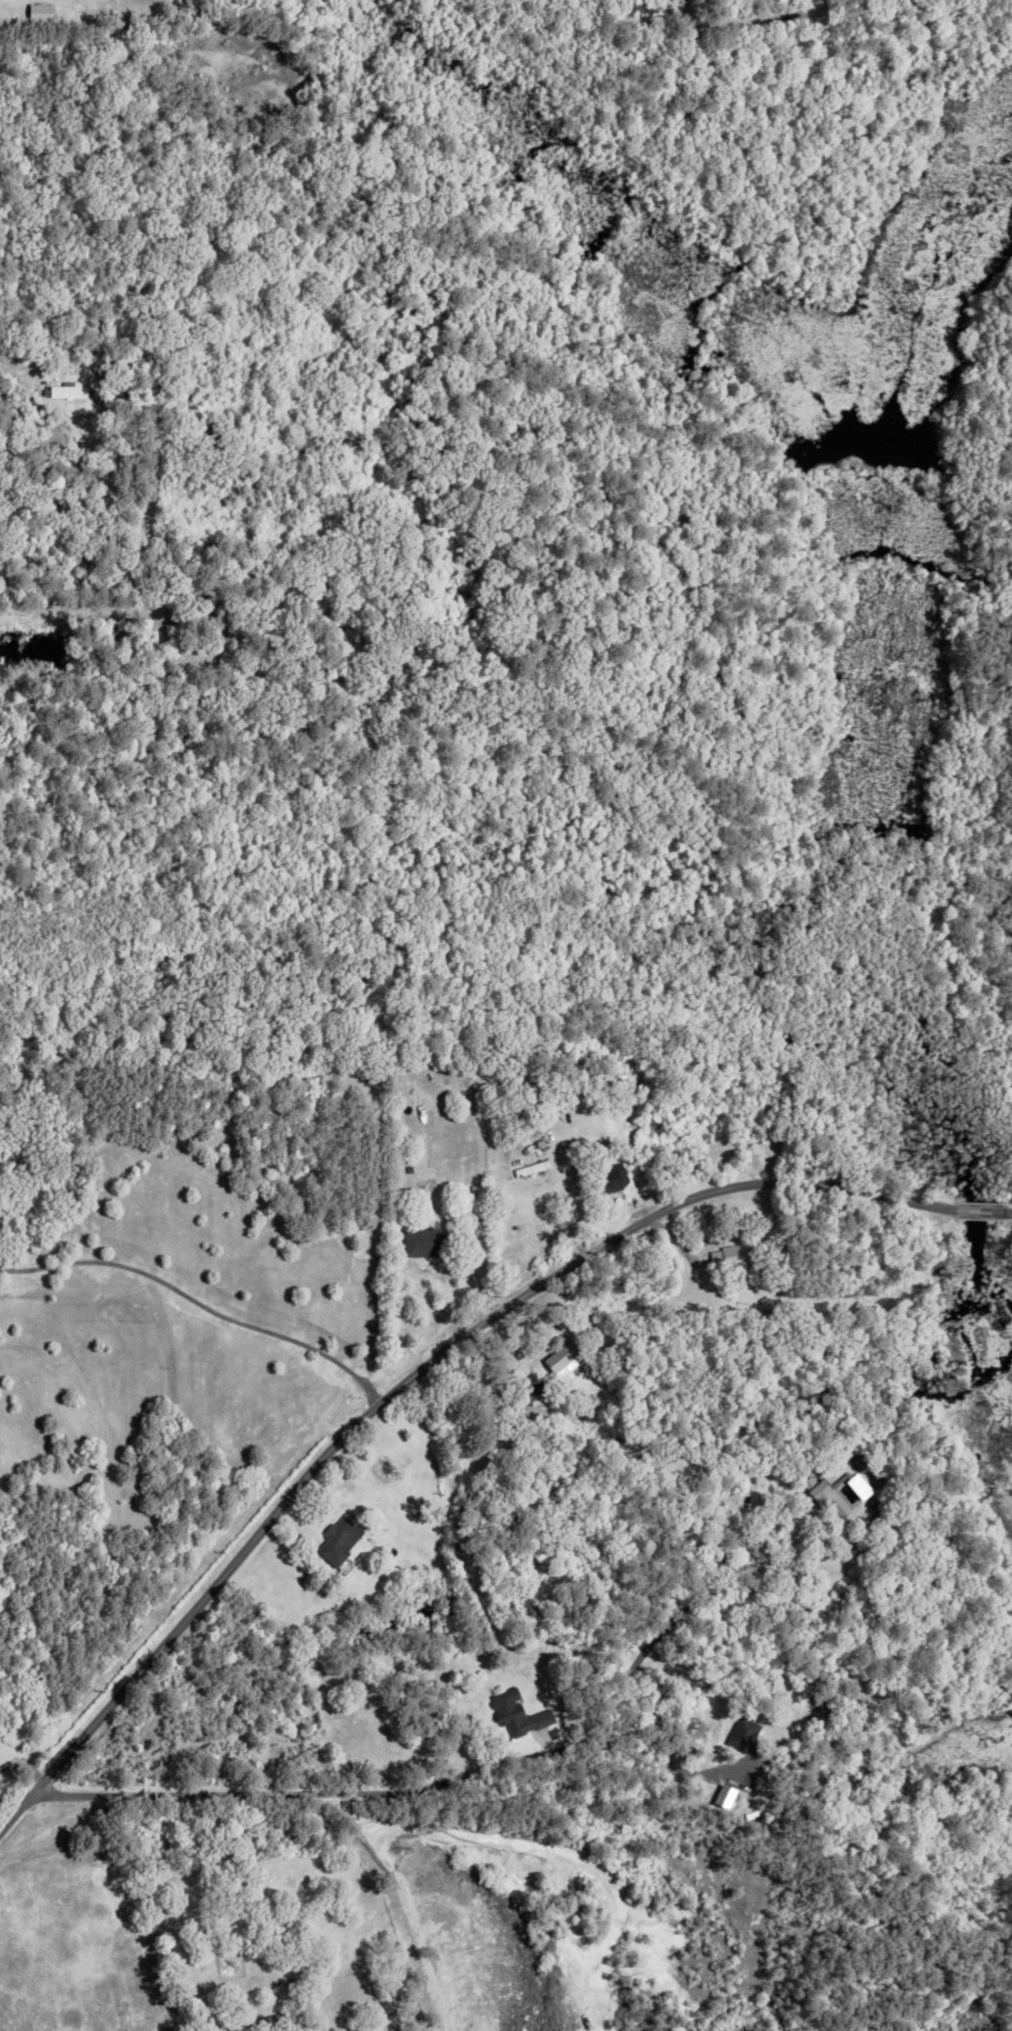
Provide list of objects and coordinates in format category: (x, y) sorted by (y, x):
building: (646, 5)
building: (70, 7)
building: (36, 12)
building: (73, 19)
building: (32, 26)
road: (8, 28)
building: (65, 392)
building: (216, 434)
building: (301, 441)
building: (288, 596)
road: (64, 610)
building: (259, 612)
building: (601, 1143)
building: (590, 1155)
building: (529, 1167)
building: (607, 1177)
building: (479, 1232)
building: (426, 1241)
building: (728, 1256)
road: (200, 1302)
building: (766, 1314)
building: (560, 1360)
road: (429, 1364)
building: (857, 1461)
building: (824, 1498)
building: (336, 1536)
building: (451, 1551)
road: (805, 1557)
building: (514, 1713)
building: (743, 1736)
road: (20, 1777)
road: (441, 1792)
building: (719, 1796)
building: (289, 1979)
building: (274, 2017)

